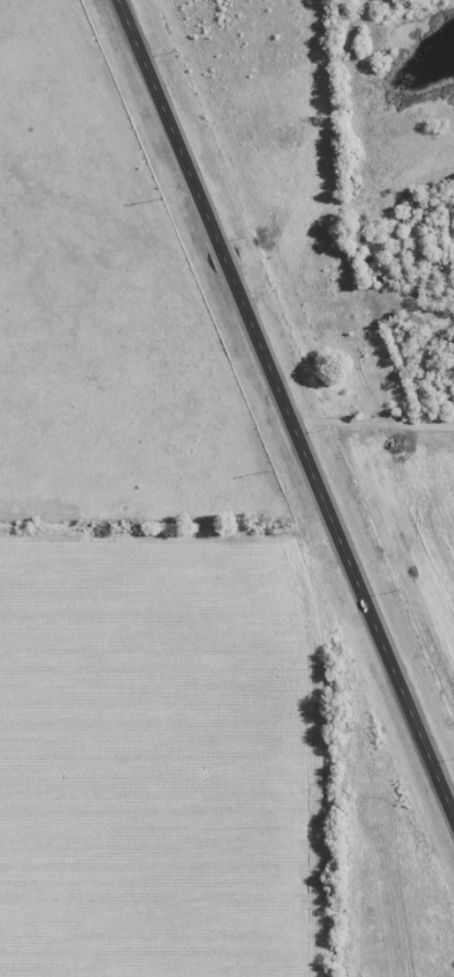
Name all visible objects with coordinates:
power tower: (162, 199)
road: (286, 409)
road: (373, 423)
power tower: (272, 470)
power tower: (376, 725)

